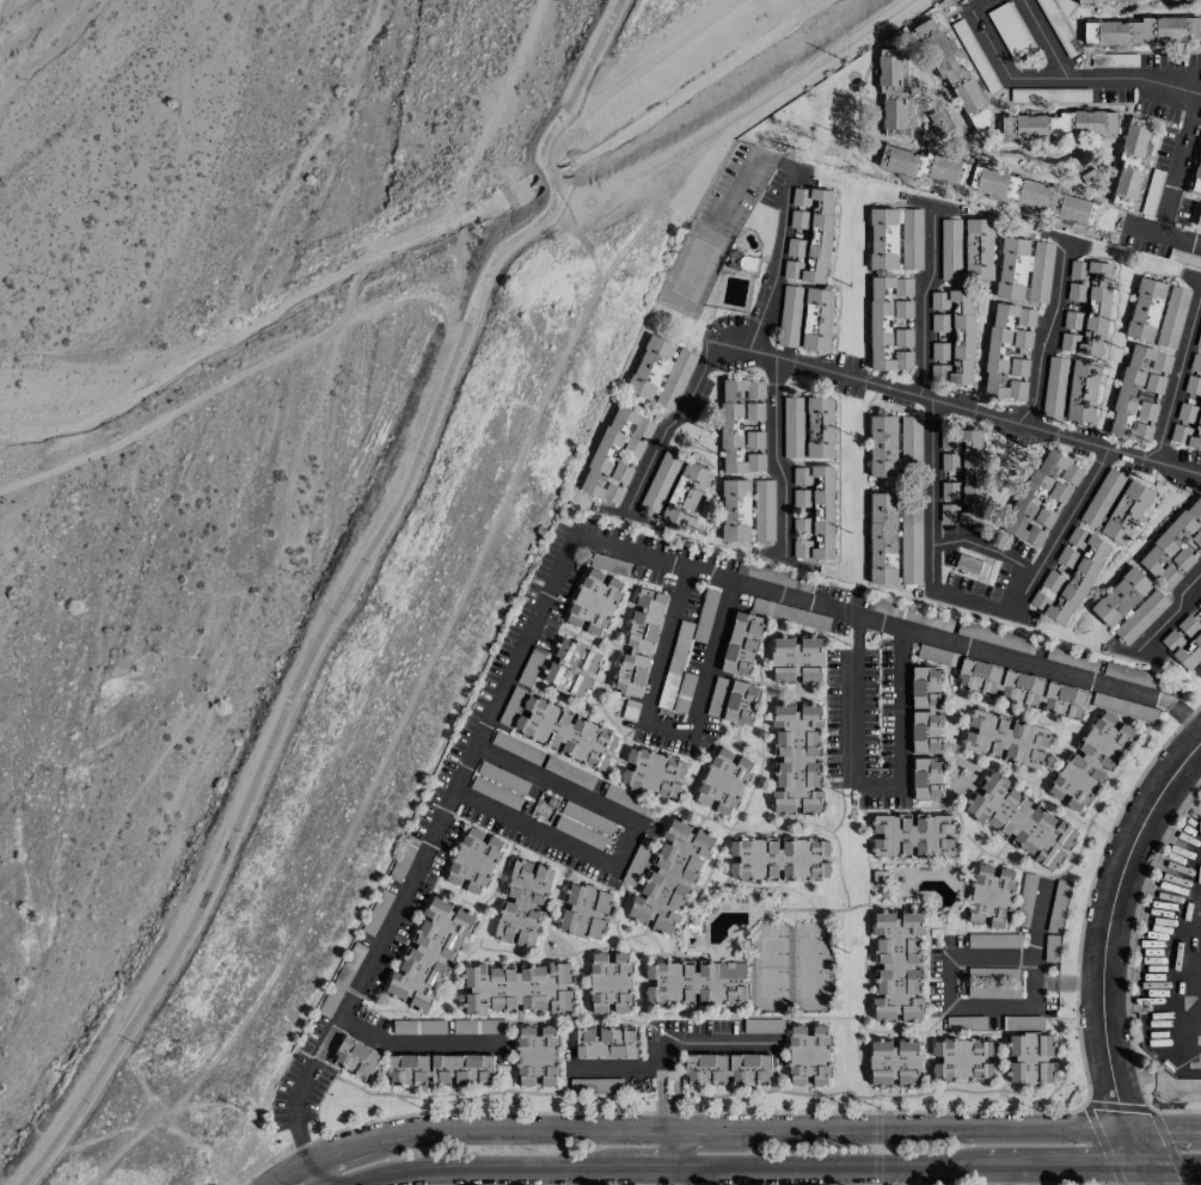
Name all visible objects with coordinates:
building: (1089, 1)
building: (1147, 30)
road: (1043, 37)
road: (998, 60)
building: (888, 73)
road: (801, 75)
road: (580, 79)
road: (1193, 111)
building: (893, 117)
building: (940, 123)
building: (1080, 123)
building: (1029, 127)
building: (1130, 162)
building: (923, 165)
road: (546, 173)
building: (1196, 177)
river: (75, 194)
building: (1033, 195)
building: (1199, 219)
building: (808, 234)
building: (883, 239)
building: (912, 239)
building: (950, 248)
road: (773, 266)
building: (1012, 268)
building: (1041, 271)
road: (921, 300)
building: (1085, 308)
building: (1145, 309)
building: (789, 317)
building: (1172, 317)
building: (890, 324)
road: (1049, 333)
building: (951, 337)
building: (1006, 339)
building: (1199, 339)
building: (1195, 363)
building: (650, 367)
building: (1019, 367)
road: (1178, 377)
building: (675, 380)
building: (1154, 383)
building: (1193, 386)
building: (1054, 387)
building: (1015, 389)
building: (1081, 391)
building: (1135, 392)
road: (957, 405)
building: (1148, 411)
building: (742, 425)
building: (1187, 425)
building: (808, 426)
road: (681, 428)
building: (911, 443)
building: (882, 446)
building: (615, 450)
road: (773, 450)
building: (618, 474)
building: (961, 477)
building: (660, 481)
building: (685, 495)
building: (1041, 495)
road: (937, 496)
building: (1102, 498)
building: (734, 510)
building: (764, 510)
building: (813, 512)
building: (1126, 512)
building: (1044, 517)
road: (1064, 529)
building: (882, 539)
road: (596, 542)
building: (1175, 545)
road: (988, 549)
building: (967, 564)
building: (773, 576)
building: (1068, 578)
road: (975, 601)
building: (594, 602)
building: (1199, 604)
building: (1128, 606)
building: (790, 614)
road: (1170, 615)
building: (994, 637)
building: (639, 641)
building: (1184, 641)
building: (741, 644)
building: (796, 659)
building: (531, 665)
building: (571, 668)
building: (675, 682)
road: (293, 687)
building: (1021, 689)
building: (717, 696)
building: (740, 702)
building: (925, 711)
road: (1185, 716)
road: (667, 724)
building: (565, 732)
building: (1005, 738)
building: (797, 757)
building: (1090, 761)
building: (652, 773)
building: (926, 779)
road: (872, 780)
building: (723, 781)
building: (994, 782)
building: (1017, 799)
building: (629, 800)
building: (976, 806)
building: (1041, 817)
building: (905, 822)
building: (919, 822)
building: (999, 822)
building: (878, 827)
building: (945, 827)
building: (1064, 833)
building: (877, 841)
building: (944, 841)
building: (1024, 841)
road: (623, 842)
building: (905, 846)
building: (919, 847)
building: (1047, 856)
building: (777, 859)
building: (473, 860)
building: (981, 873)
building: (670, 876)
building: (1006, 877)
building: (1025, 894)
building: (522, 903)
building: (1058, 905)
building: (583, 911)
building: (974, 913)
building: (998, 916)
building: (883, 920)
building: (912, 920)
building: (992, 940)
road: (1104, 941)
building: (884, 947)
building: (1050, 947)
building: (913, 948)
building: (429, 954)
road: (1171, 960)
road: (949, 965)
park: (791, 966)
building: (341, 980)
building: (883, 980)
building: (913, 980)
building: (609, 982)
building: (694, 982)
building: (993, 982)
road: (1079, 983)
building: (515, 988)
building: (882, 1007)
building: (913, 1007)
building: (964, 1023)
building: (1023, 1023)
building: (418, 1026)
building: (478, 1026)
building: (762, 1026)
road: (411, 1038)
building: (605, 1043)
road: (693, 1043)
building: (1016, 1043)
building: (1044, 1043)
building: (535, 1056)
building: (808, 1056)
building: (355, 1058)
building: (961, 1060)
building: (894, 1063)
road: (621, 1067)
building: (728, 1068)
building: (408, 1069)
building: (461, 1069)
building: (1016, 1070)
building: (1044, 1070)
building: (595, 1085)
road: (294, 1104)
road: (667, 1112)
road: (704, 1129)
road: (936, 1129)
road: (1164, 1129)
road: (517, 1132)
road: (669, 1148)
road: (341, 1152)
road: (1062, 1161)
road: (827, 1163)
road: (1171, 1163)
road: (484, 1166)
road: (647, 1166)
road: (292, 1172)
road: (318, 1172)
road: (1004, 1173)
road: (1146, 1173)
road: (890, 1174)
road: (673, 1175)

